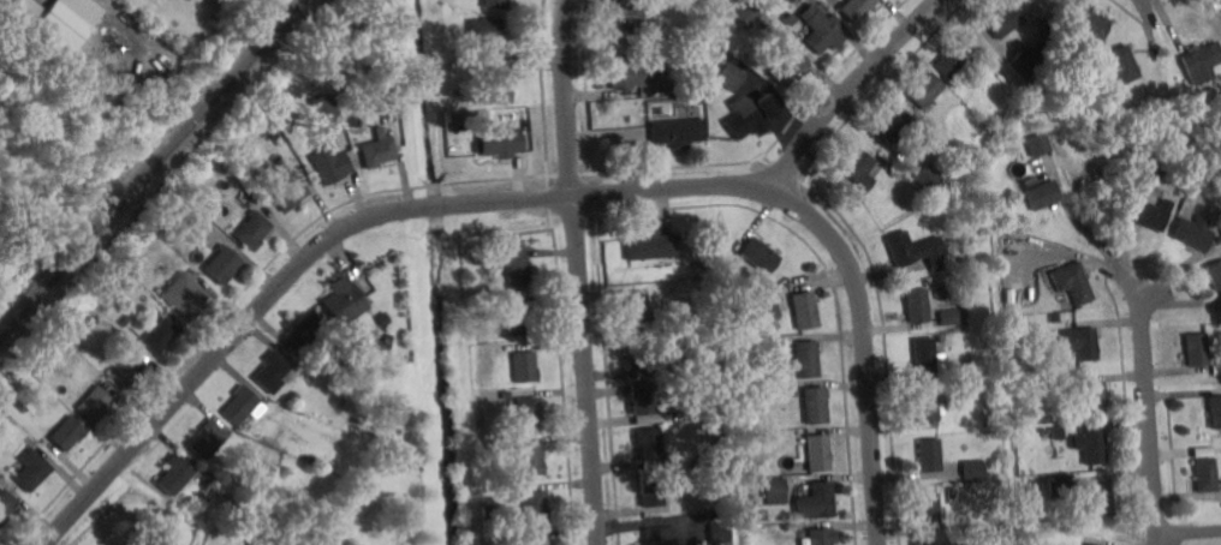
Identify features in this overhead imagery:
building: (791, 0)
building: (495, 4)
building: (857, 8)
building: (20, 10)
building: (750, 12)
building: (69, 20)
building: (1007, 22)
building: (624, 23)
building: (822, 28)
building: (1094, 29)
building: (488, 34)
building: (99, 56)
building: (954, 59)
building: (1207, 60)
building: (1125, 64)
building: (790, 65)
building: (1025, 65)
building: (626, 71)
building: (731, 73)
building: (687, 86)
building: (499, 88)
road: (850, 89)
building: (1049, 89)
building: (928, 90)
building: (382, 91)
building: (952, 96)
building: (1, 97)
building: (322, 107)
building: (481, 114)
building: (751, 115)
building: (894, 124)
building: (679, 132)
building: (501, 142)
building: (1040, 143)
building: (379, 150)
building: (330, 162)
railway: (153, 168)
building: (862, 169)
building: (894, 172)
building: (1154, 174)
building: (929, 178)
building: (290, 192)
building: (189, 193)
building: (1042, 193)
building: (1154, 214)
building: (191, 220)
building: (254, 229)
road: (345, 229)
building: (1196, 232)
road: (1094, 236)
building: (1002, 241)
building: (651, 246)
building: (905, 248)
building: (761, 256)
building: (940, 259)
building: (481, 260)
building: (224, 264)
building: (516, 268)
road: (582, 271)
building: (1216, 274)
building: (1076, 282)
building: (185, 295)
building: (343, 299)
building: (919, 305)
building: (805, 310)
building: (767, 312)
building: (637, 313)
building: (952, 317)
building: (1056, 318)
building: (522, 319)
building: (382, 321)
building: (67, 329)
building: (161, 335)
building: (305, 335)
building: (941, 337)
building: (1082, 342)
building: (1201, 349)
road: (865, 351)
building: (639, 352)
building: (927, 354)
building: (703, 357)
building: (808, 359)
building: (525, 367)
building: (126, 369)
building: (274, 371)
building: (8, 393)
building: (506, 394)
building: (296, 397)
building: (642, 399)
building: (1095, 399)
building: (994, 400)
building: (96, 403)
building: (240, 405)
building: (816, 405)
building: (929, 405)
road: (1149, 407)
building: (1216, 411)
building: (2, 413)
building: (528, 414)
building: (657, 420)
building: (1059, 432)
building: (69, 433)
building: (209, 438)
building: (651, 444)
building: (1094, 444)
building: (488, 445)
building: (820, 453)
building: (1205, 453)
building: (933, 455)
building: (530, 459)
building: (703, 460)
building: (32, 469)
building: (976, 469)
building: (748, 471)
building: (1210, 474)
building: (173, 475)
building: (1060, 485)
building: (650, 491)
building: (778, 491)
building: (201, 499)
building: (1104, 499)
building: (817, 501)
building: (6, 504)
building: (535, 505)
building: (931, 510)
road: (1190, 531)
building: (721, 532)
building: (661, 535)
building: (818, 535)
building: (517, 537)
building: (150, 541)
building: (536, 543)
building: (967, 543)
building: (254, 544)
building: (1091, 544)

